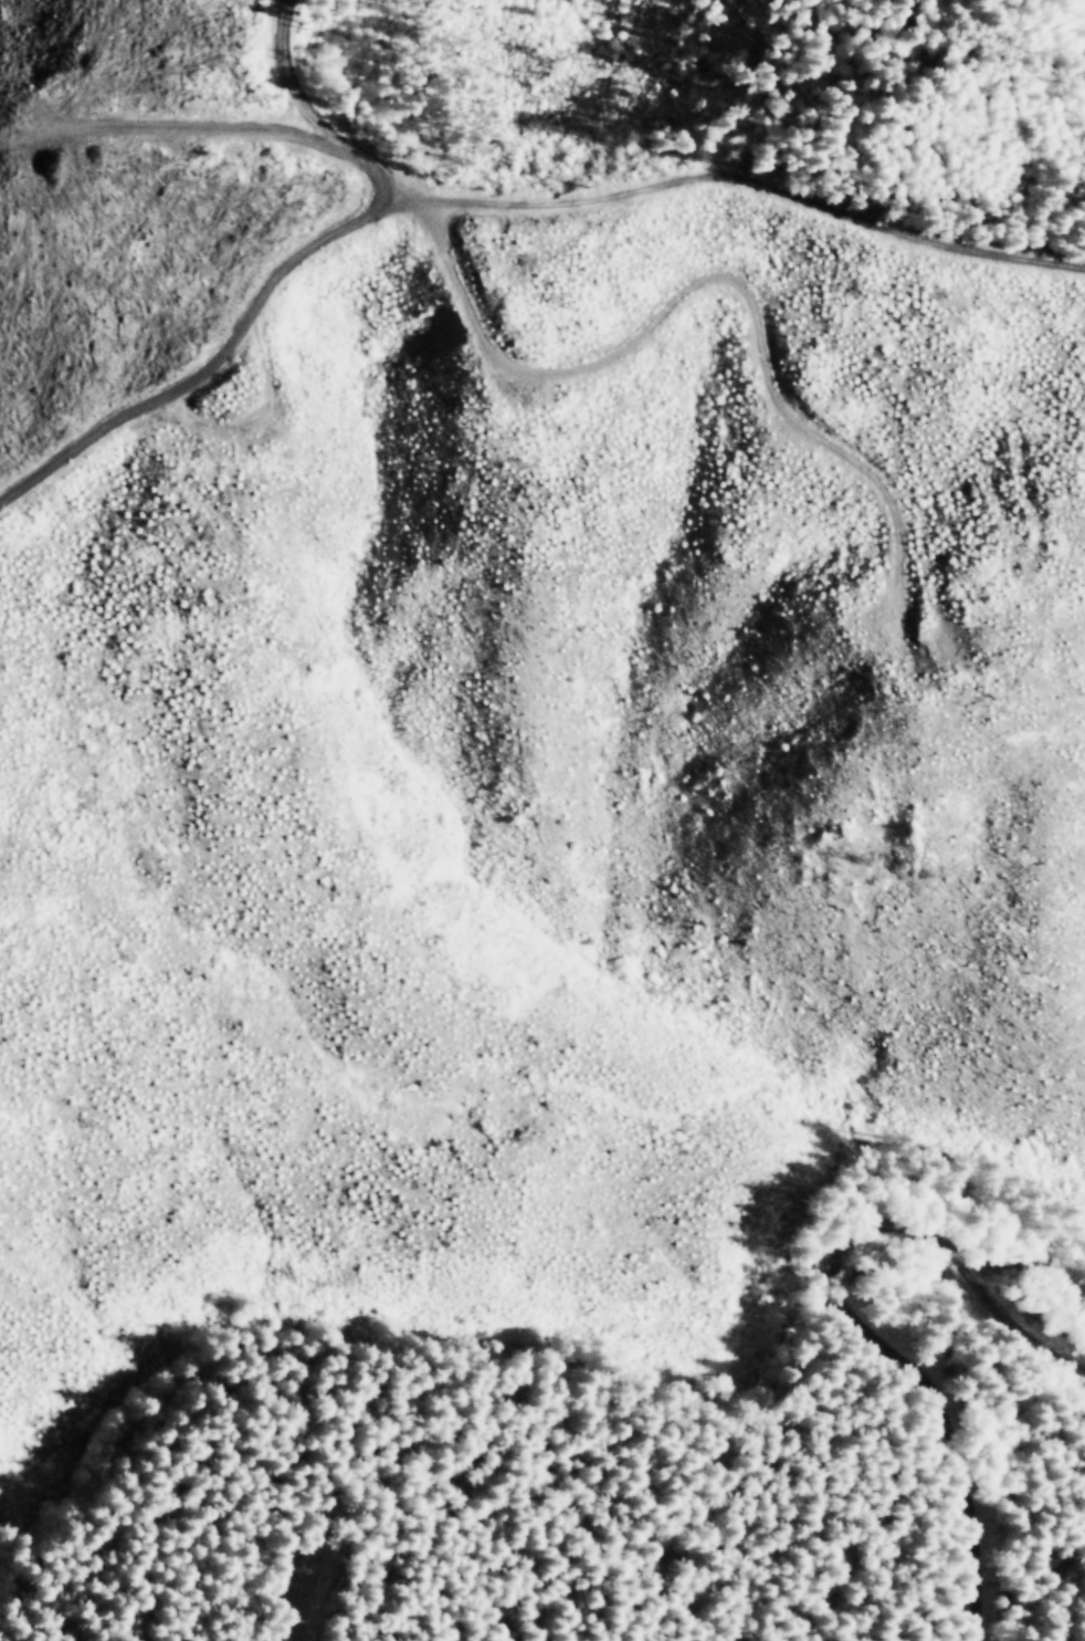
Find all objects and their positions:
road: (480, 303)
road: (868, 1276)
road: (284, 1620)

